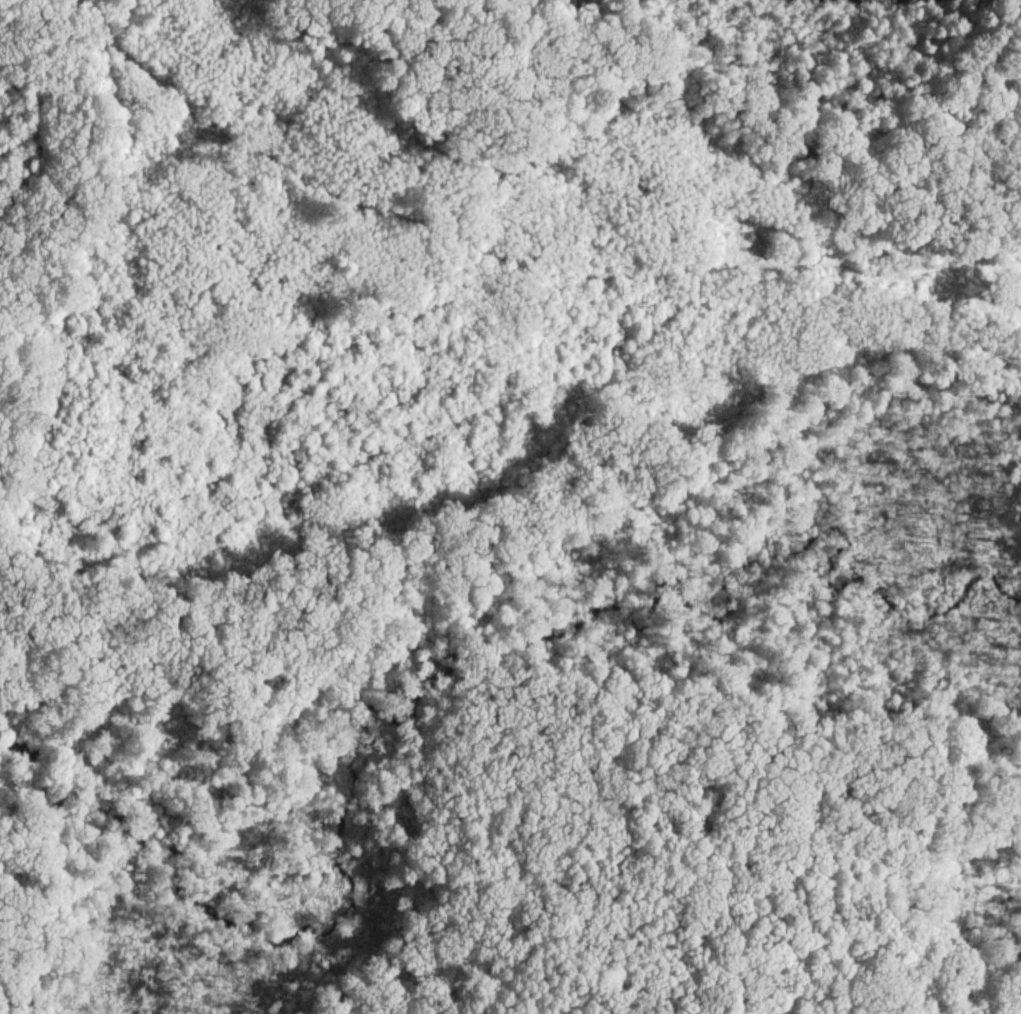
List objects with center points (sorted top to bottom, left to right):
road: (918, 248)
road: (686, 1010)

